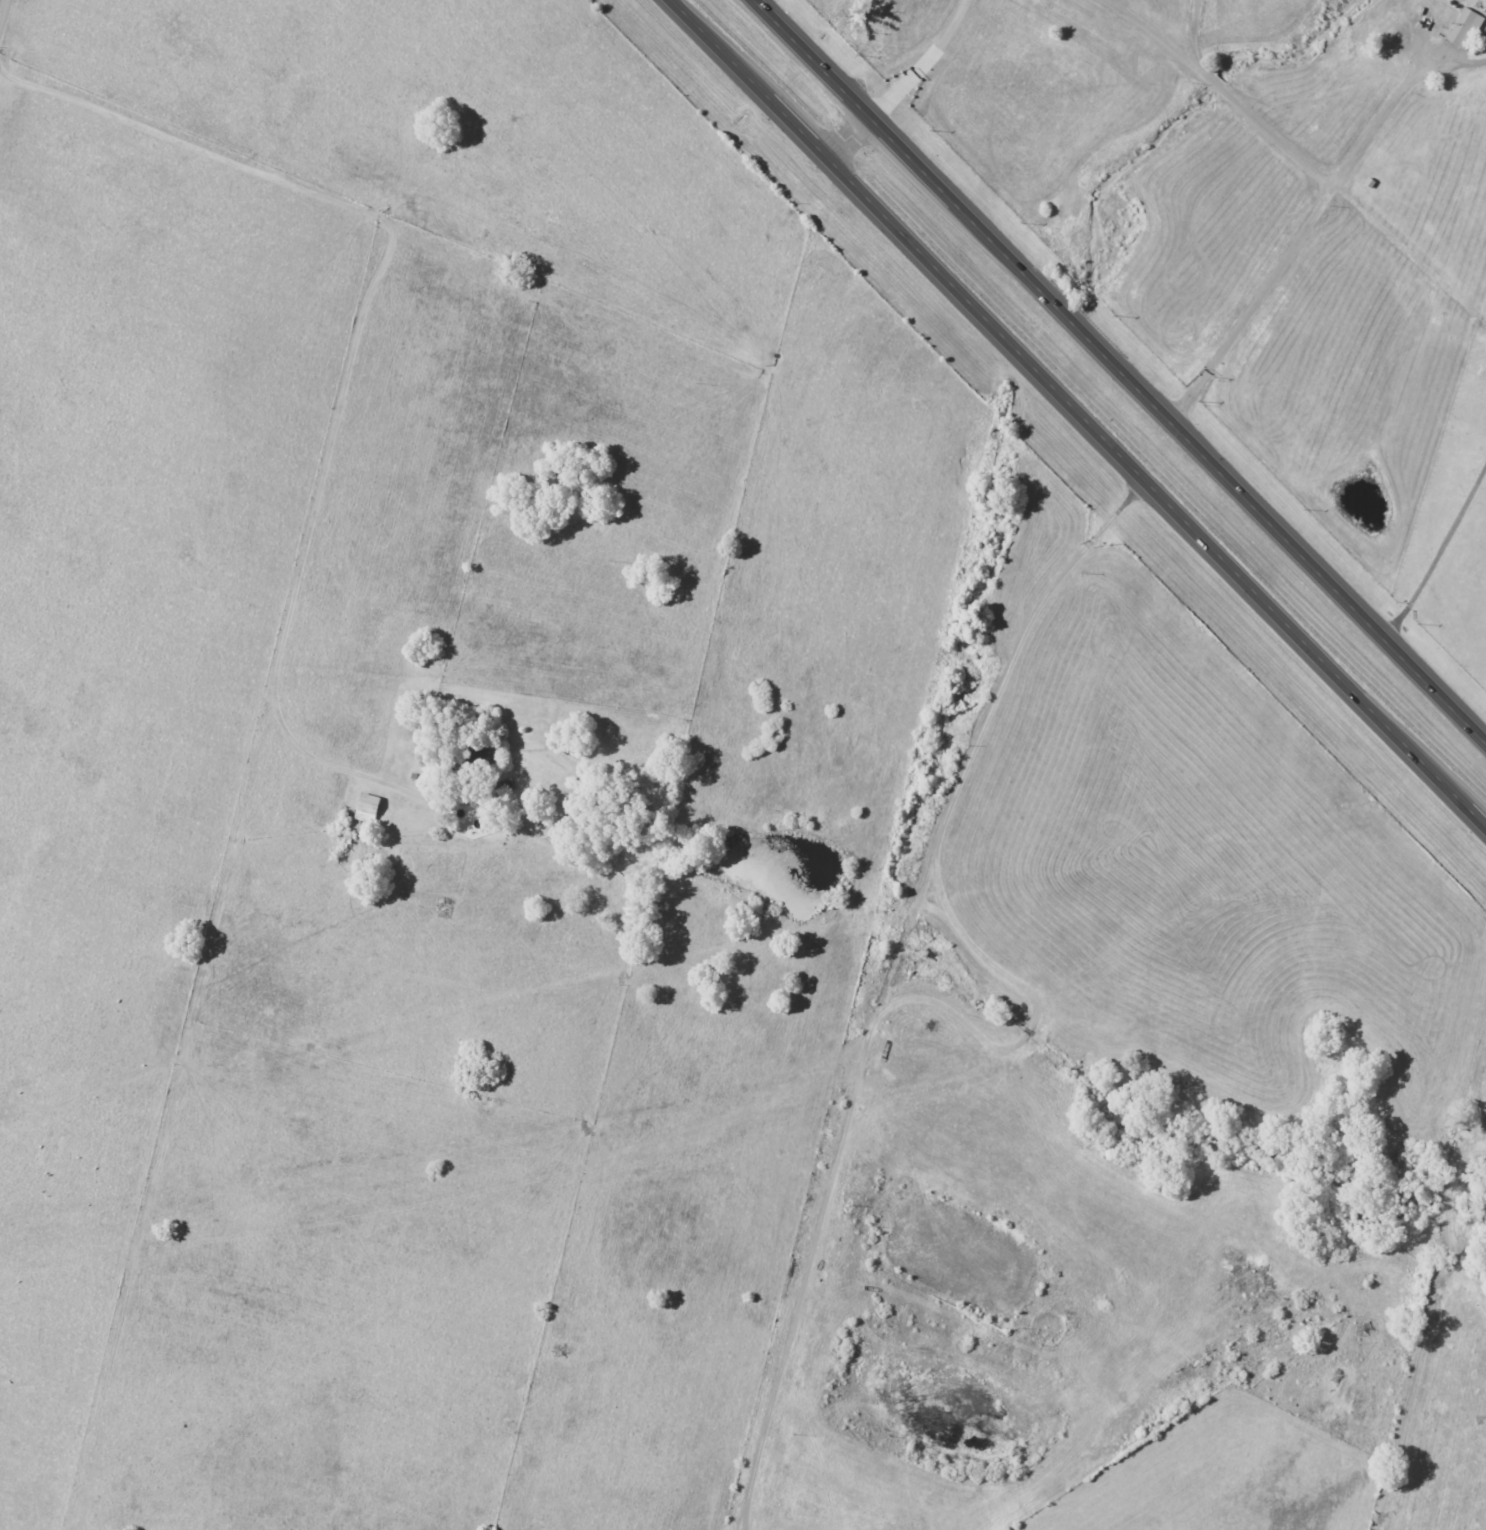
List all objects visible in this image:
road: (4, 16)
building: (1460, 28)
road: (1192, 30)
road: (922, 61)
road: (849, 138)
road: (1299, 158)
road: (1311, 215)
road: (349, 368)
road: (1121, 370)
road: (1077, 415)
road: (1438, 553)
building: (362, 806)
road: (884, 985)

